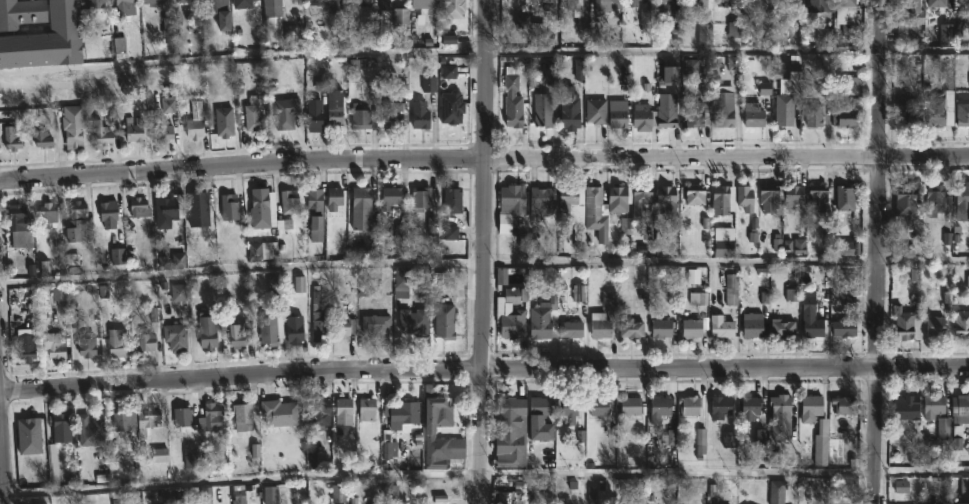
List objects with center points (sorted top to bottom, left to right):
building: (185, 1)
building: (603, 1)
building: (635, 1)
building: (151, 2)
building: (362, 2)
building: (725, 2)
building: (757, 2)
building: (787, 2)
building: (935, 2)
building: (244, 3)
building: (544, 3)
building: (665, 3)
building: (698, 3)
building: (844, 3)
building: (96, 4)
building: (424, 4)
building: (570, 4)
building: (330, 5)
building: (384, 5)
building: (817, 5)
building: (270, 7)
building: (908, 7)
building: (453, 9)
building: (125, 11)
building: (217, 11)
building: (20, 12)
building: (402, 18)
building: (45, 39)
road: (484, 53)
building: (511, 97)
building: (939, 101)
building: (723, 106)
building: (334, 107)
building: (785, 108)
building: (847, 108)
building: (909, 109)
building: (963, 109)
building: (542, 110)
building: (569, 110)
building: (666, 110)
building: (596, 111)
building: (616, 113)
building: (292, 115)
building: (313, 115)
building: (394, 115)
building: (420, 115)
building: (753, 115)
building: (813, 115)
building: (641, 116)
building: (693, 116)
building: (360, 117)
building: (253, 118)
building: (223, 124)
building: (74, 127)
building: (192, 128)
building: (161, 129)
building: (133, 130)
building: (101, 133)
building: (11, 138)
building: (44, 140)
road: (484, 158)
building: (567, 195)
building: (641, 195)
building: (792, 195)
building: (693, 196)
building: (389, 197)
building: (744, 197)
building: (768, 197)
building: (333, 198)
building: (420, 198)
building: (817, 198)
building: (845, 198)
building: (618, 199)
building: (665, 199)
building: (452, 200)
building: (722, 200)
building: (936, 200)
building: (313, 201)
building: (962, 201)
building: (289, 202)
building: (906, 202)
building: (541, 203)
building: (137, 207)
building: (199, 207)
building: (228, 207)
building: (360, 207)
building: (509, 207)
building: (261, 208)
building: (168, 210)
building: (595, 213)
building: (45, 214)
building: (108, 214)
building: (74, 222)
building: (19, 227)
building: (723, 242)
building: (262, 251)
road: (878, 251)
road: (485, 252)
road: (484, 261)
building: (401, 283)
building: (731, 290)
building: (503, 311)
building: (810, 316)
building: (543, 319)
building: (413, 321)
building: (444, 321)
building: (319, 322)
building: (719, 322)
building: (375, 324)
building: (906, 324)
building: (962, 324)
building: (599, 325)
building: (751, 325)
building: (269, 327)
building: (782, 327)
building: (844, 327)
building: (935, 327)
building: (294, 328)
building: (660, 328)
building: (344, 329)
building: (570, 329)
building: (631, 329)
building: (691, 329)
building: (206, 331)
building: (237, 335)
building: (175, 336)
building: (144, 340)
building: (115, 343)
building: (53, 344)
building: (85, 344)
building: (25, 345)
road: (484, 368)
building: (781, 403)
building: (844, 404)
building: (570, 405)
building: (631, 405)
building: (689, 405)
building: (720, 406)
building: (906, 406)
building: (932, 406)
building: (600, 407)
building: (658, 407)
building: (750, 407)
building: (366, 408)
building: (810, 408)
building: (960, 409)
building: (343, 410)
building: (278, 412)
building: (319, 412)
building: (508, 412)
building: (403, 413)
building: (242, 414)
building: (182, 416)
building: (210, 416)
building: (539, 418)
building: (146, 419)
building: (124, 424)
building: (59, 428)
building: (89, 430)
building: (428, 431)
building: (508, 444)
road: (3, 447)
building: (52, 464)
road: (484, 475)
building: (512, 494)
building: (338, 495)
building: (389, 501)
building: (962, 503)

